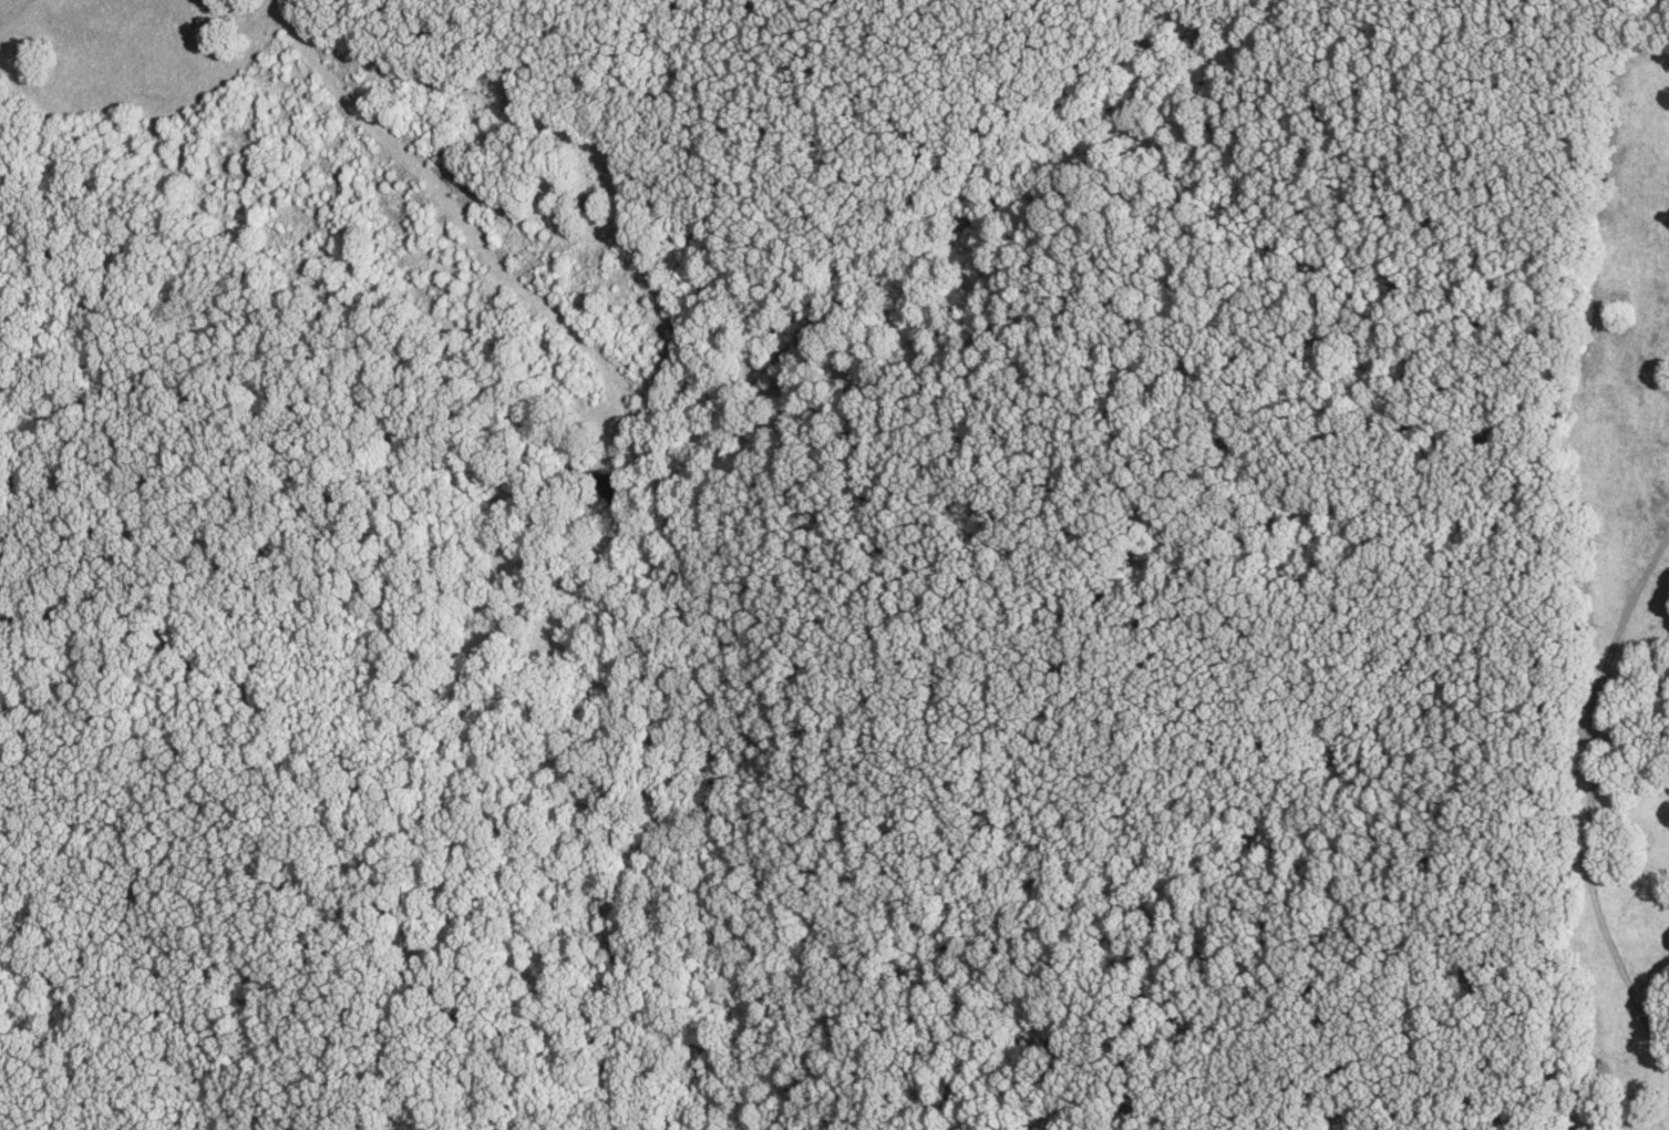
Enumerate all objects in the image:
road: (1594, 799)

